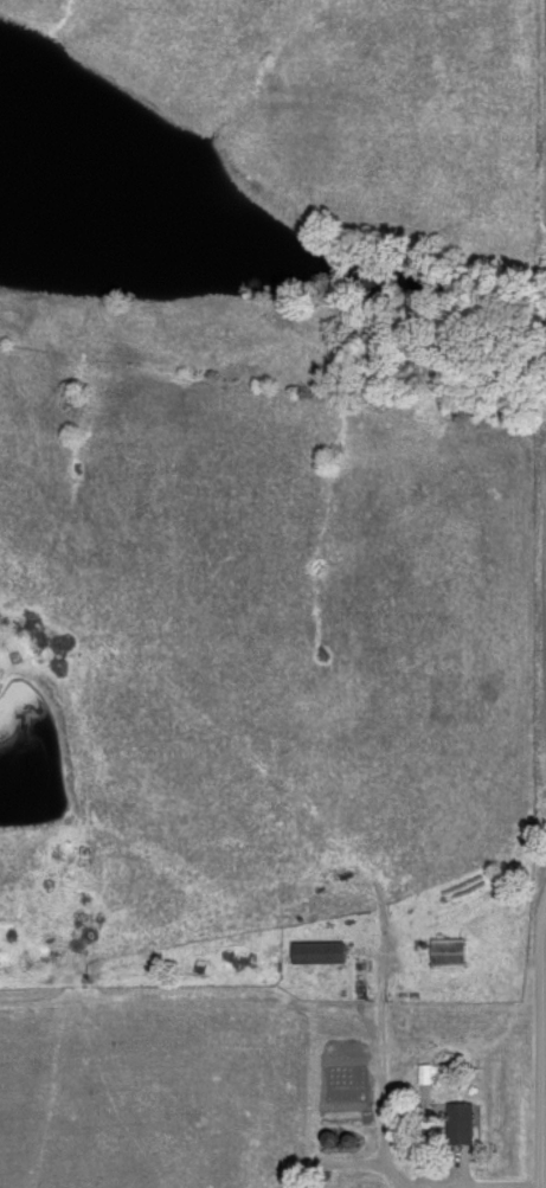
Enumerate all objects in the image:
building: (314, 951)
building: (444, 951)
building: (457, 1122)

